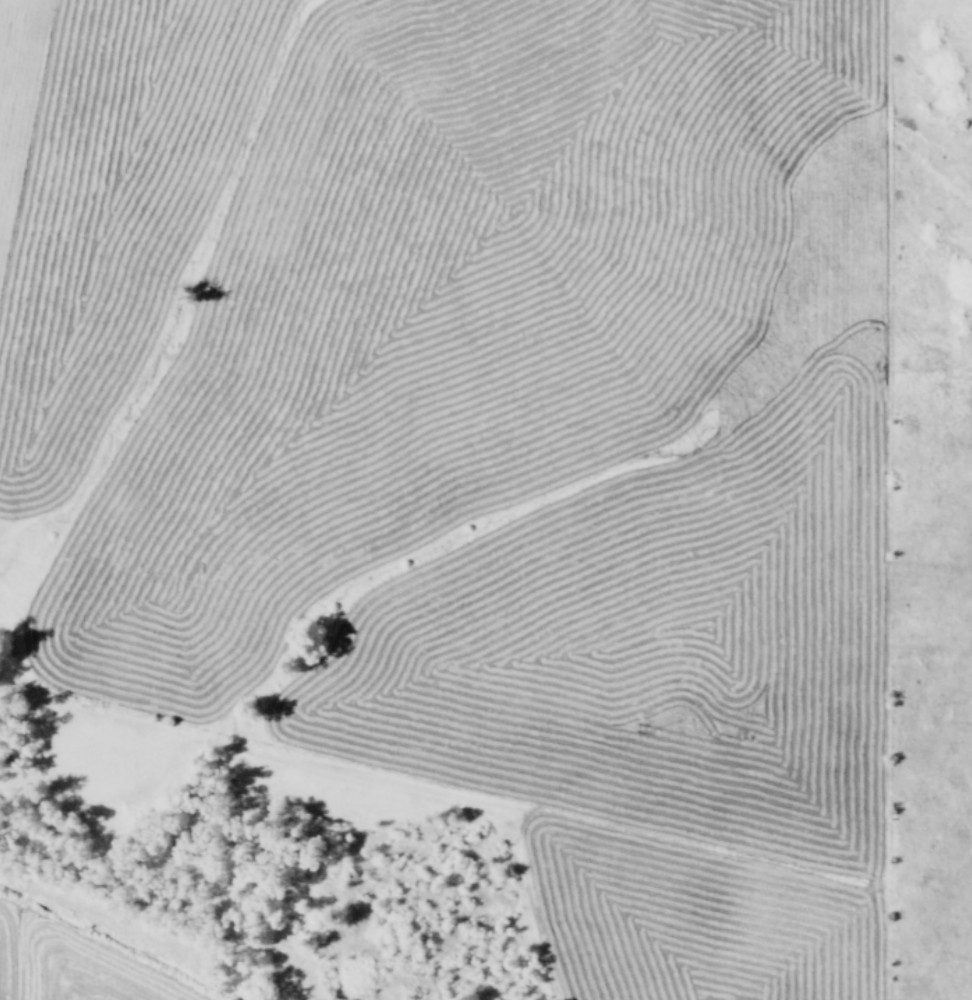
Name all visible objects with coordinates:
crop: (49, 973)

